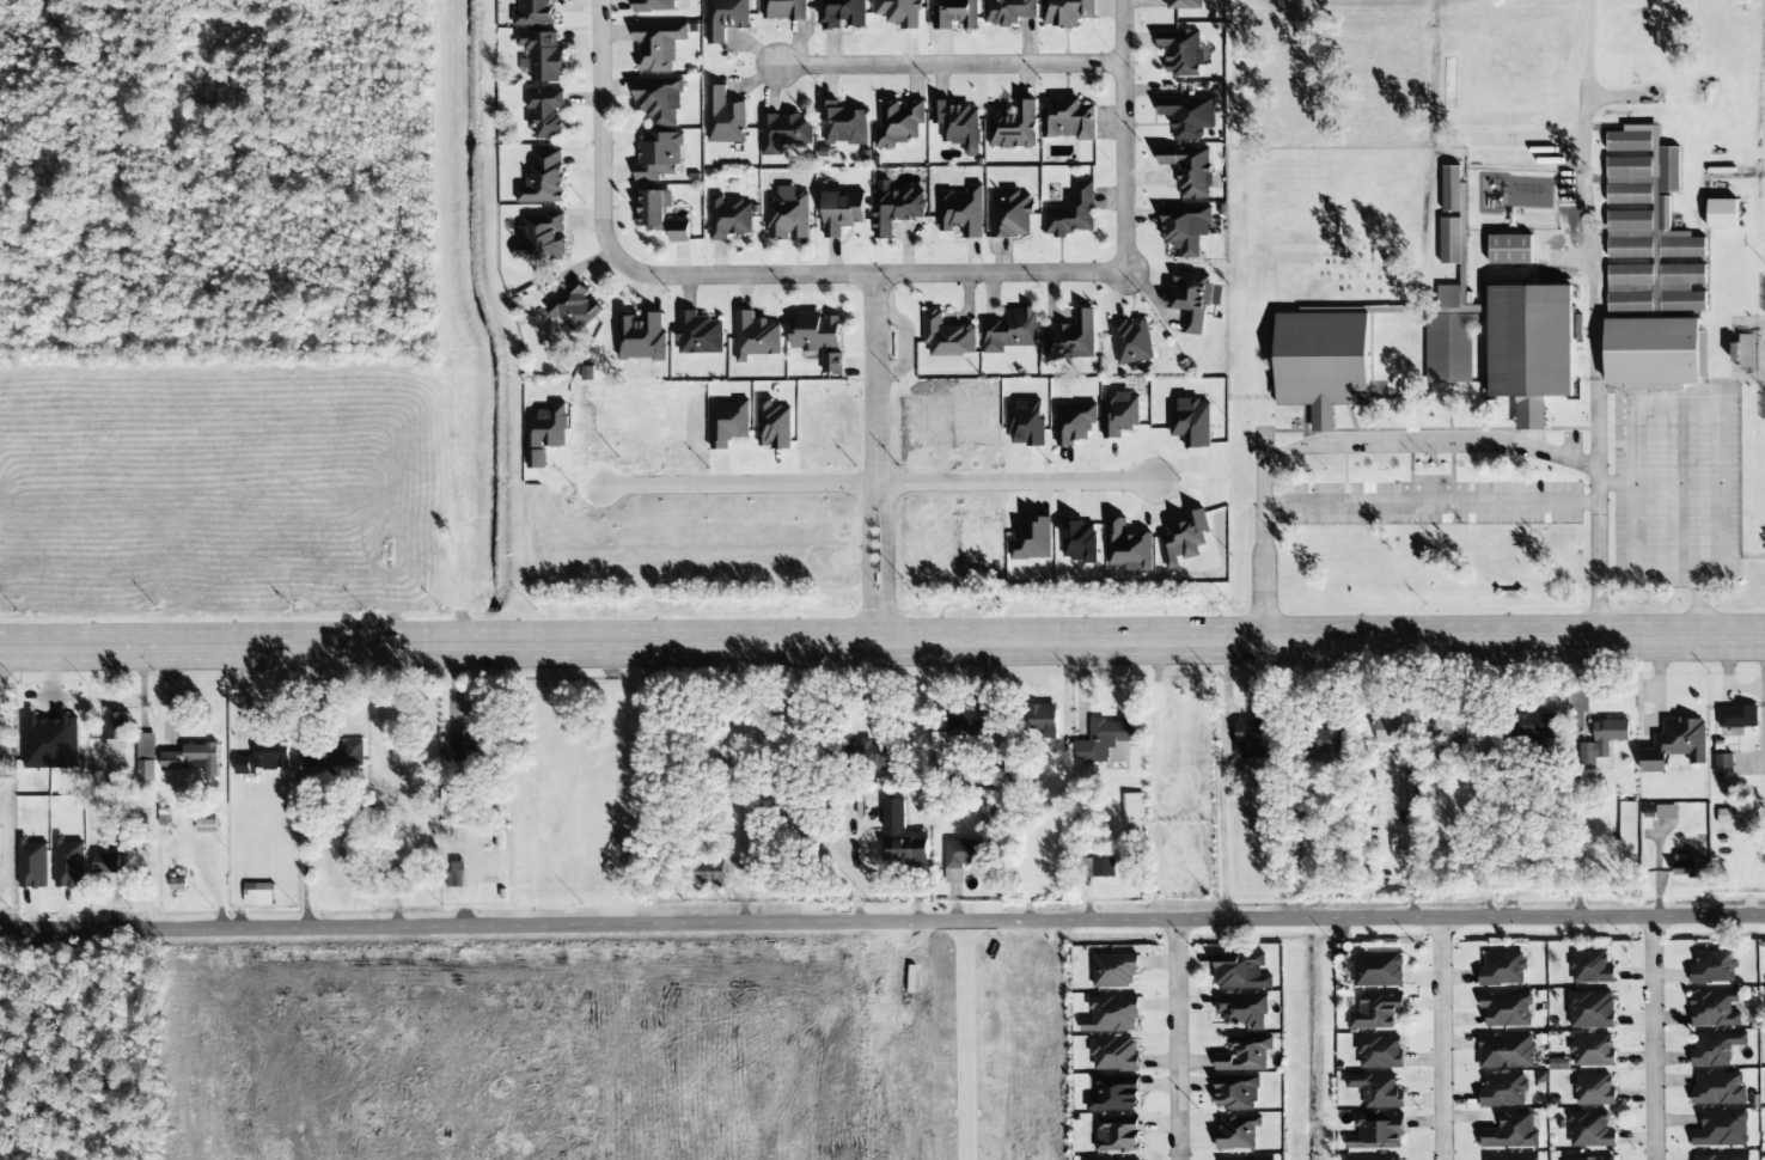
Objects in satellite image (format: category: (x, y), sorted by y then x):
building: (1184, 4)
building: (654, 5)
building: (783, 10)
building: (1008, 11)
building: (899, 12)
building: (1065, 12)
building: (535, 13)
building: (843, 13)
building: (955, 14)
building: (725, 18)
building: (658, 44)
building: (1180, 51)
building: (543, 55)
road: (946, 60)
building: (659, 99)
building: (544, 112)
building: (1187, 116)
building: (725, 117)
building: (1068, 118)
building: (898, 123)
building: (843, 124)
building: (958, 124)
building: (1012, 126)
building: (783, 133)
road: (1122, 135)
building: (658, 155)
building: (1189, 170)
building: (543, 179)
building: (652, 207)
building: (894, 207)
building: (961, 210)
building: (842, 212)
building: (1073, 213)
building: (787, 214)
building: (1010, 214)
building: (1721, 214)
building: (728, 218)
building: (1184, 228)
building: (1648, 230)
building: (678, 232)
building: (539, 238)
building: (1449, 240)
building: (1510, 250)
road: (738, 276)
building: (1190, 299)
building: (574, 307)
building: (1009, 331)
building: (698, 334)
building: (641, 336)
building: (755, 336)
building: (947, 336)
building: (818, 337)
building: (1071, 337)
building: (1130, 341)
building: (1507, 344)
building: (1745, 353)
building: (1654, 354)
building: (1321, 361)
building: (1120, 414)
building: (1191, 422)
building: (728, 423)
building: (774, 425)
building: (545, 434)
road: (877, 458)
road: (874, 483)
building: (1184, 538)
building: (1032, 541)
building: (1128, 547)
road: (882, 640)
building: (1736, 719)
building: (1044, 720)
building: (1537, 726)
building: (116, 731)
building: (1248, 739)
building: (1323, 739)
building: (1105, 741)
building: (1601, 741)
building: (1674, 744)
building: (465, 751)
building: (316, 756)
building: (869, 756)
building: (146, 757)
building: (263, 758)
building: (193, 759)
building: (1723, 764)
building: (2, 769)
building: (1132, 808)
building: (1666, 812)
building: (893, 814)
building: (1627, 822)
building: (206, 825)
building: (908, 851)
building: (964, 853)
building: (32, 863)
building: (69, 863)
building: (106, 863)
building: (1097, 867)
building: (1690, 868)
building: (707, 871)
building: (456, 874)
building: (953, 875)
building: (257, 895)
road: (881, 922)
building: (1590, 967)
building: (1714, 967)
building: (1502, 969)
building: (1378, 970)
building: (1114, 971)
building: (1240, 971)
building: (1714, 1008)
building: (1506, 1009)
building: (1590, 1009)
building: (1241, 1011)
building: (1375, 1012)
building: (1111, 1014)
road: (1651, 1038)
road: (1441, 1039)
road: (963, 1040)
road: (1178, 1040)
building: (1715, 1049)
building: (1590, 1050)
building: (1379, 1051)
building: (1504, 1051)
building: (1114, 1054)
building: (1244, 1054)
building: (1557, 1064)
building: (1718, 1088)
building: (1594, 1089)
building: (1376, 1091)
building: (1503, 1091)
building: (1236, 1092)
building: (1113, 1095)
building: (1721, 1129)
building: (1589, 1130)
building: (1238, 1131)
building: (1376, 1131)
building: (1509, 1132)
building: (1117, 1134)
building: (1720, 1156)
building: (1511, 1158)
building: (1589, 1158)
building: (1250, 1159)
building: (1376, 1159)

